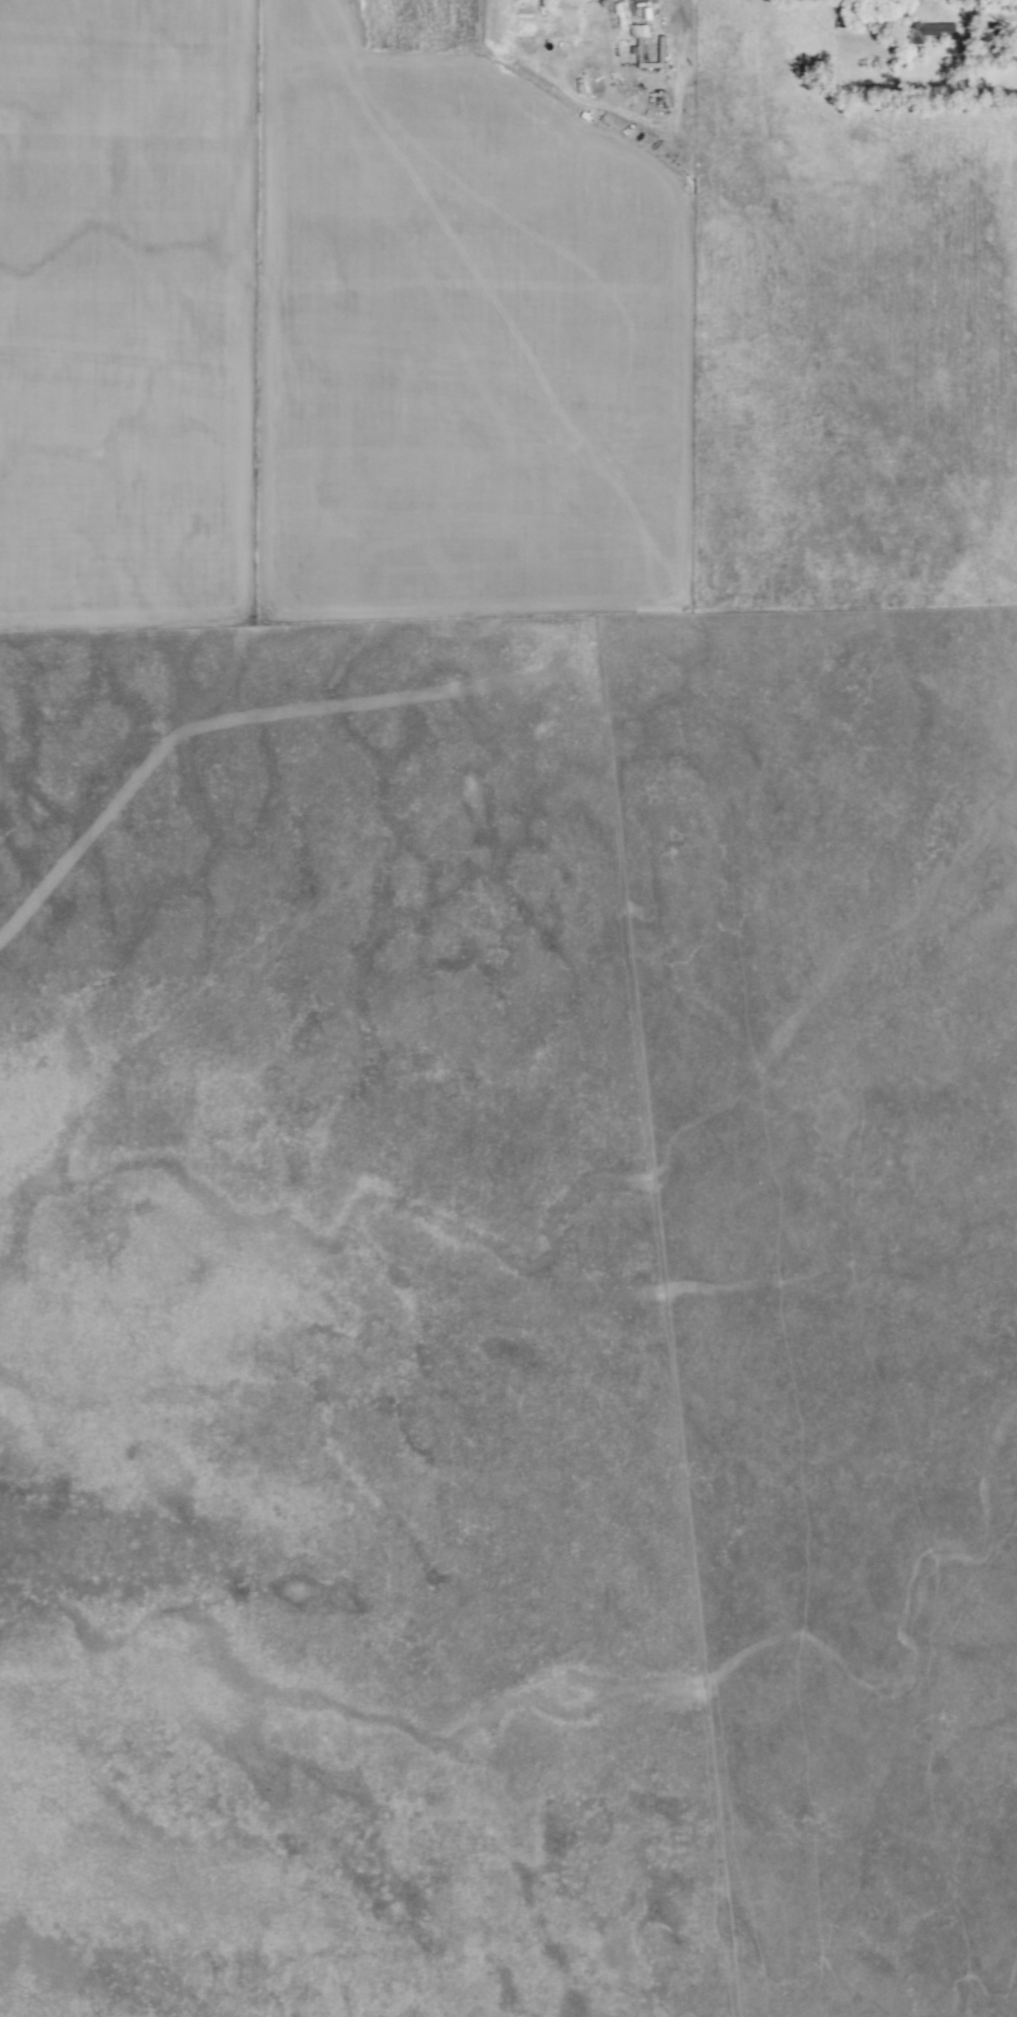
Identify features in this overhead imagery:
building: (933, 31)
building: (638, 40)

